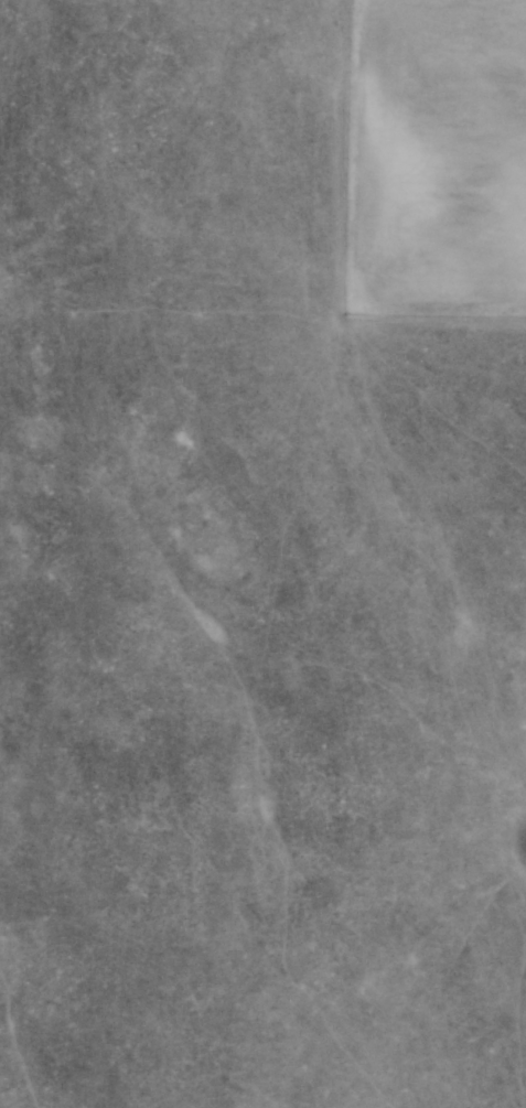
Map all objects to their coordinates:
crop: (438, 155)

